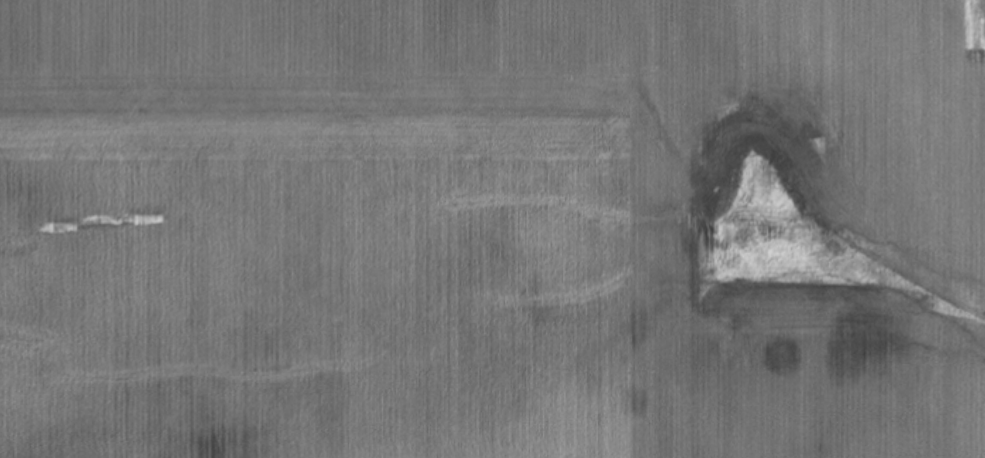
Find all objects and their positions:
crop: (492, 229)

